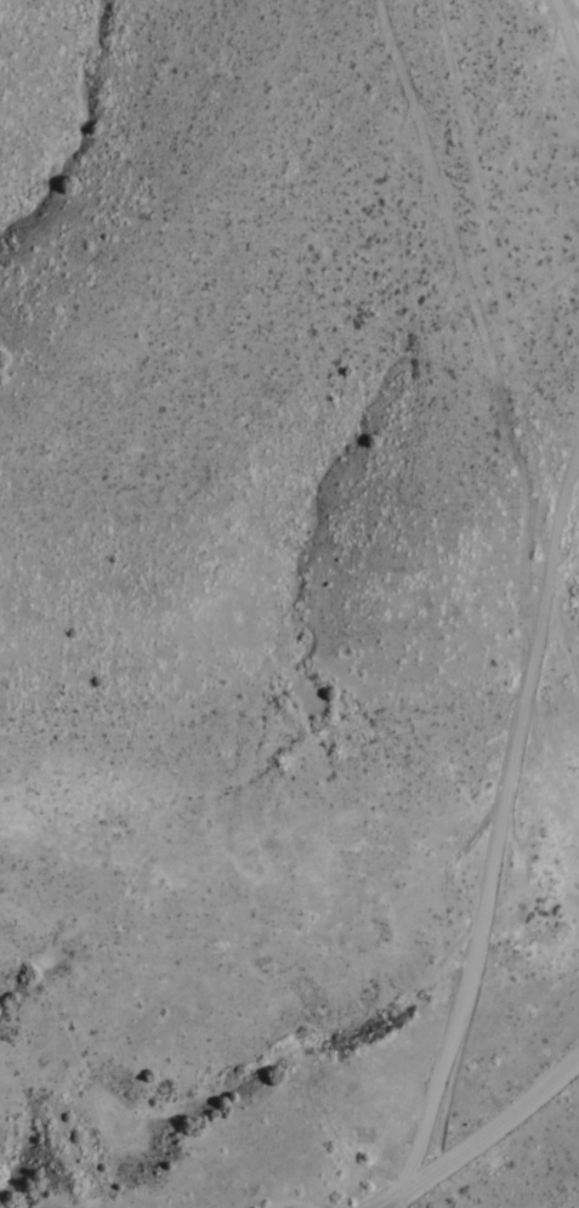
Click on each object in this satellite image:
road: (45, 1130)
road: (481, 1136)

